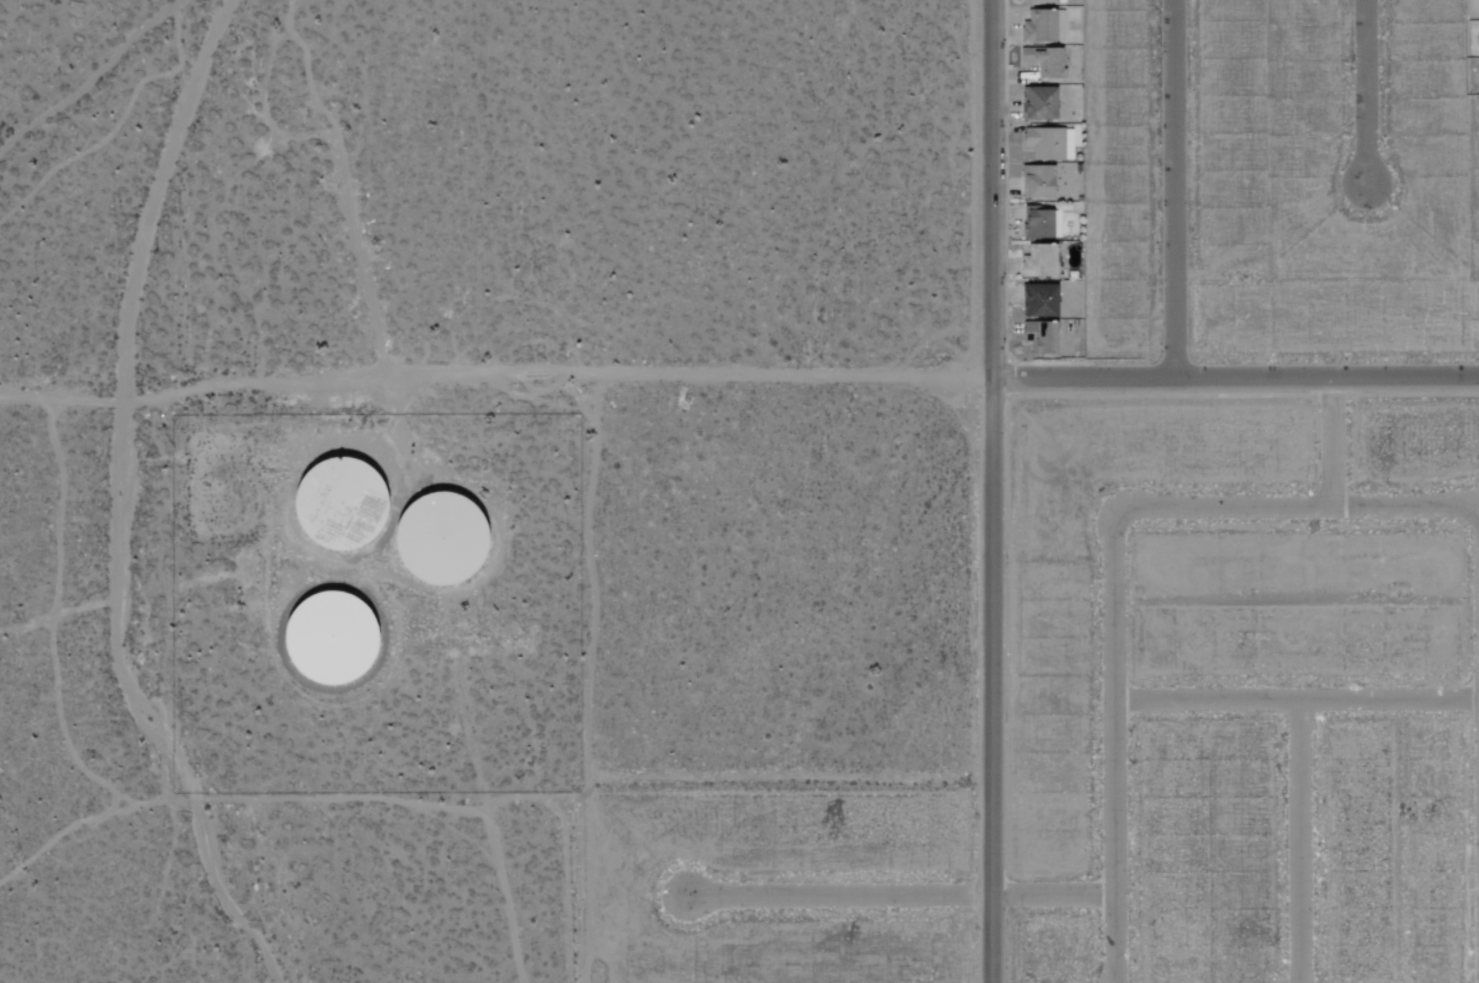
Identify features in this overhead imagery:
building: (1045, 1)
road: (87, 74)
road: (1366, 94)
building: (1037, 103)
building: (1048, 144)
building: (1036, 181)
road: (1174, 189)
building: (1040, 224)
building: (1037, 261)
building: (1037, 300)
road: (1237, 378)
road: (693, 381)
road: (254, 391)
road: (404, 429)
road: (1335, 442)
road: (995, 491)
road: (121, 506)
road: (1303, 508)
road: (1295, 699)
road: (1113, 742)
road: (1298, 841)
road: (901, 895)

